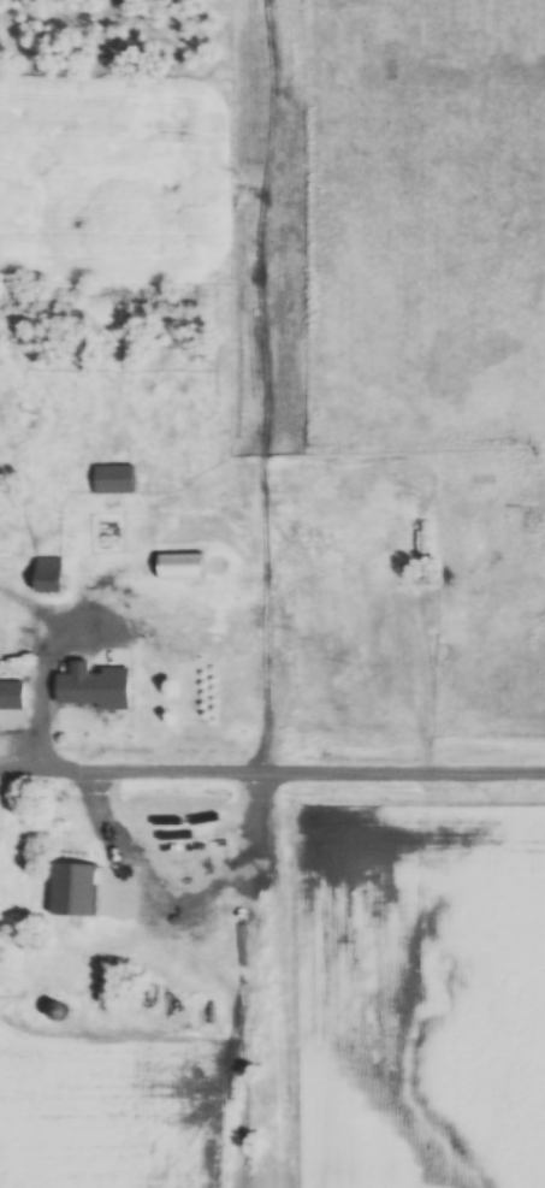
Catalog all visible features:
road: (262, 468)
building: (113, 478)
building: (49, 573)
road: (84, 614)
building: (95, 687)
building: (12, 693)
road: (47, 717)
road: (272, 774)
road: (118, 859)
building: (73, 888)
building: (57, 1010)

